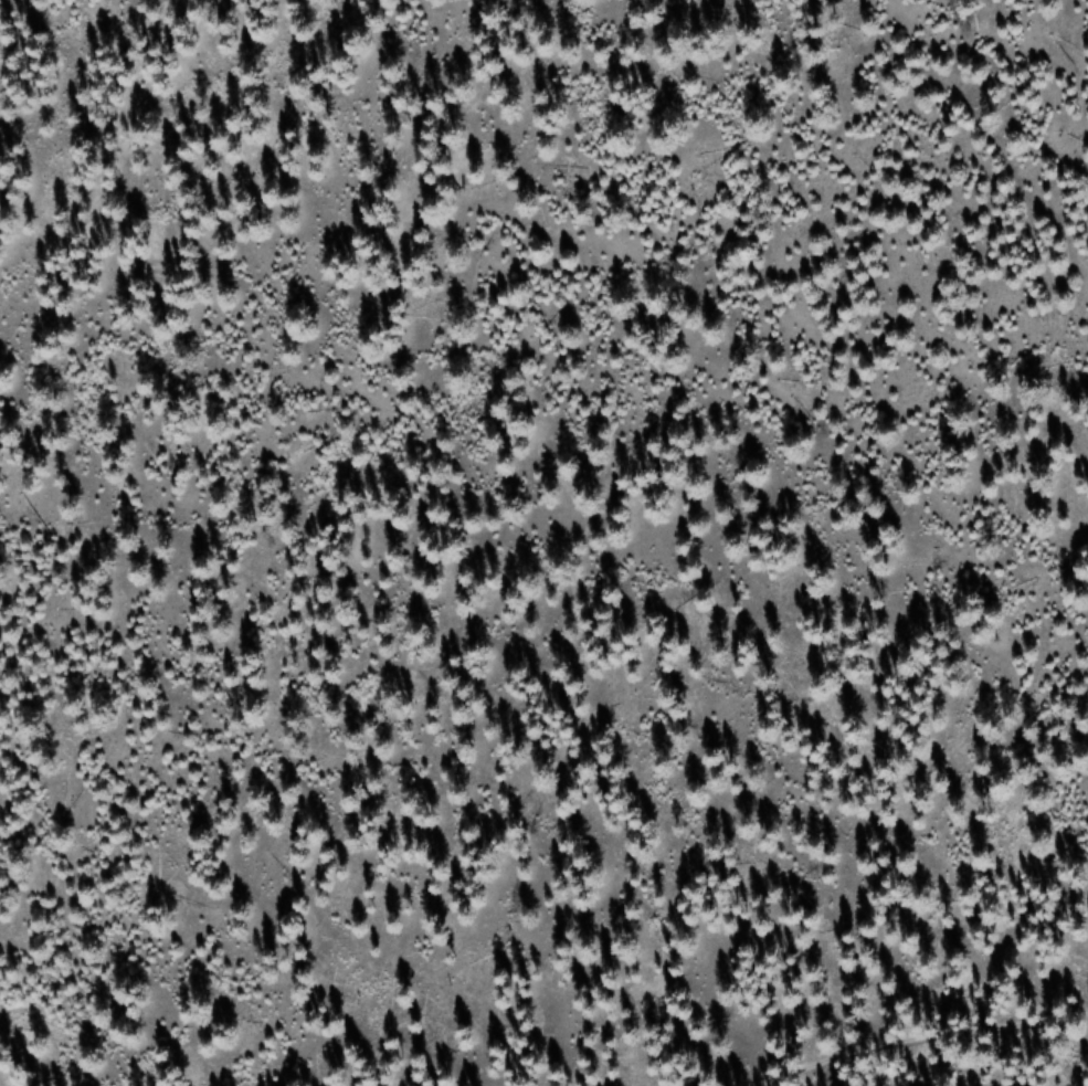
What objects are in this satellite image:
road: (971, 1059)

